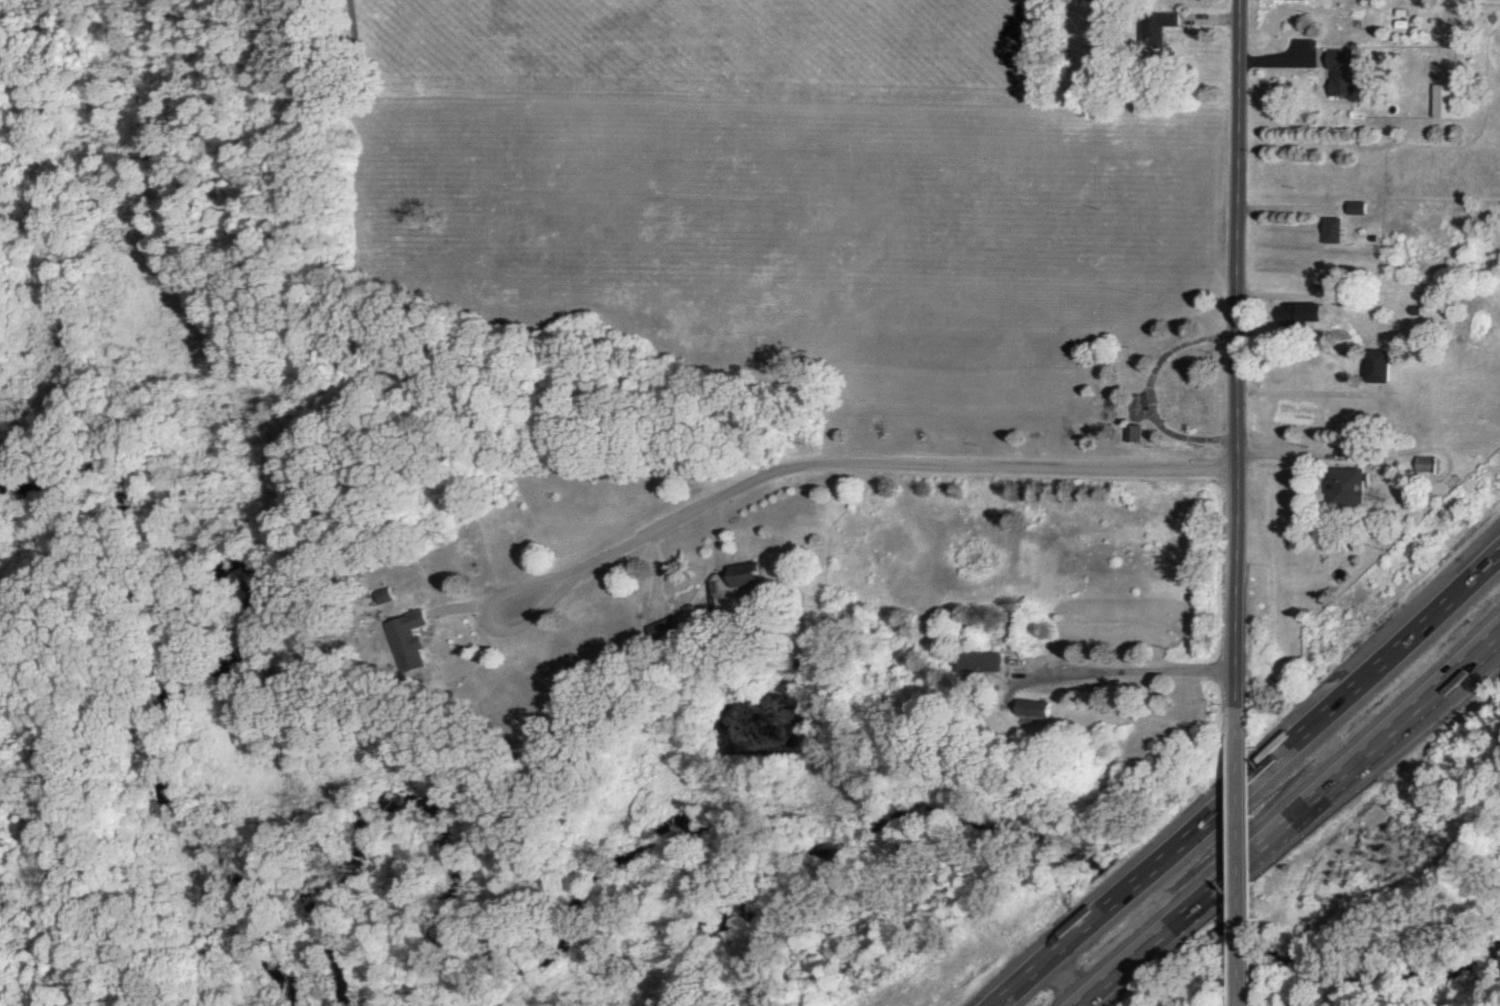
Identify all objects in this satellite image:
building: (1163, 38)
building: (1342, 72)
building: (1451, 101)
road: (1292, 207)
building: (1358, 207)
building: (1334, 230)
road: (1239, 235)
road: (1291, 295)
building: (1304, 314)
building: (1380, 366)
road: (1303, 390)
building: (1431, 464)
road: (857, 468)
building: (1347, 487)
building: (750, 574)
road: (1236, 588)
building: (391, 596)
building: (417, 640)
building: (986, 662)
road: (1136, 670)
building: (1041, 708)
road: (1248, 781)
road: (1287, 819)
road: (1236, 856)
road: (1064, 980)

